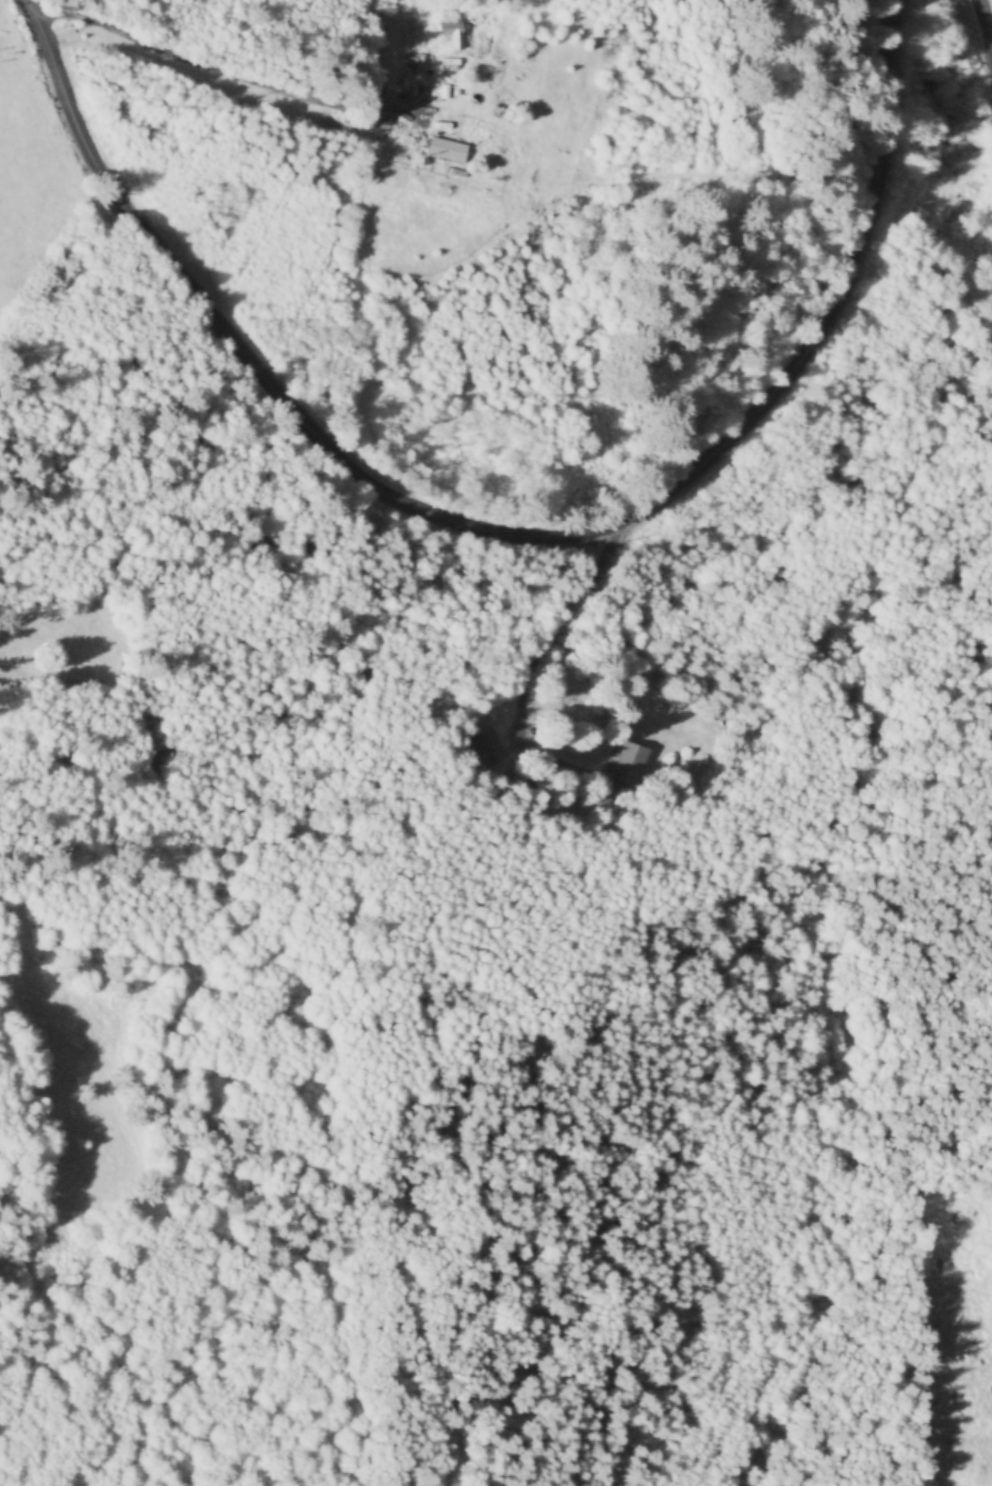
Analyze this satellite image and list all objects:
road: (991, 2)
building: (453, 32)
road: (238, 73)
building: (449, 150)
road: (512, 530)
building: (503, 753)
building: (631, 765)

